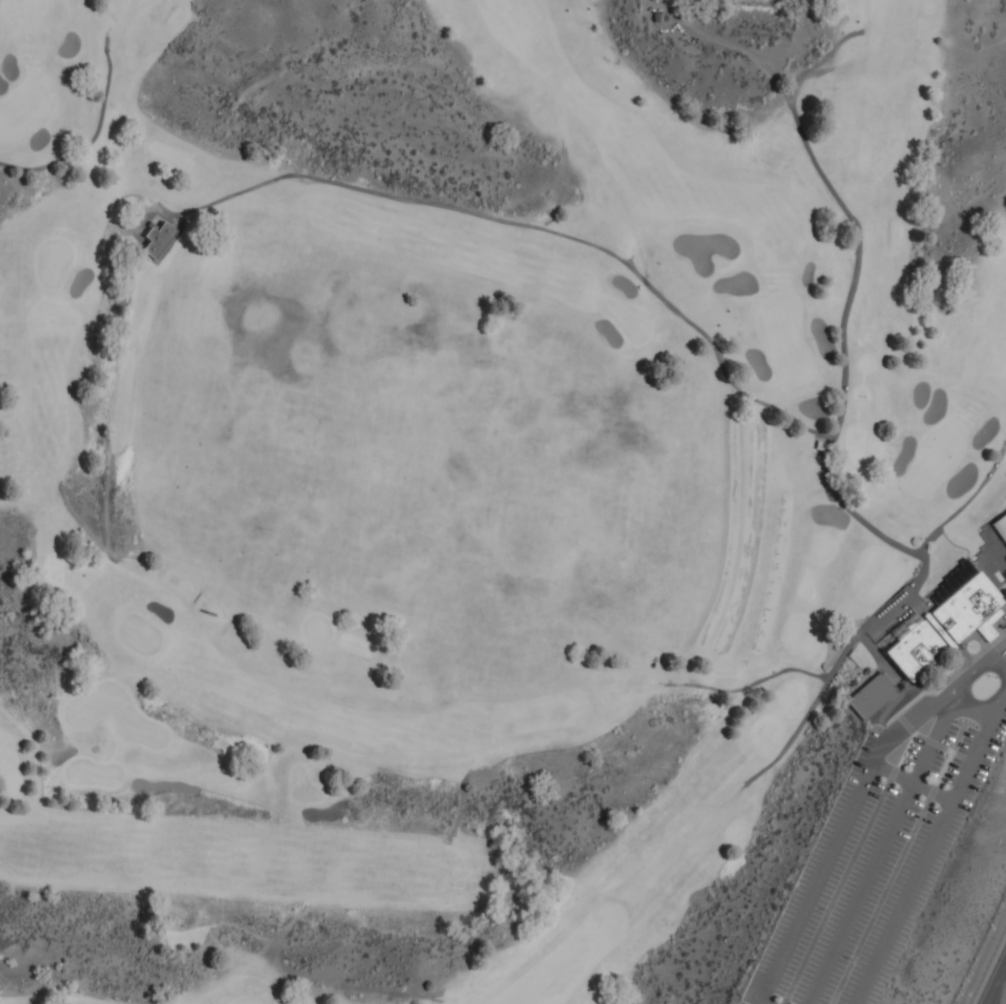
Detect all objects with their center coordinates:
road: (89, 142)
road: (537, 227)
building: (159, 239)
road: (834, 490)
park: (501, 500)
road: (967, 502)
building: (1000, 527)
building: (948, 626)
road: (971, 673)
building: (871, 695)
road: (909, 704)
road: (975, 710)
road: (912, 720)
road: (618, 727)
road: (927, 740)
road: (913, 783)
road: (928, 849)
road: (877, 855)
parking lot: (876, 860)
road: (848, 867)
road: (822, 871)
road: (891, 878)
road: (986, 963)
road: (996, 982)
road: (763, 1002)

